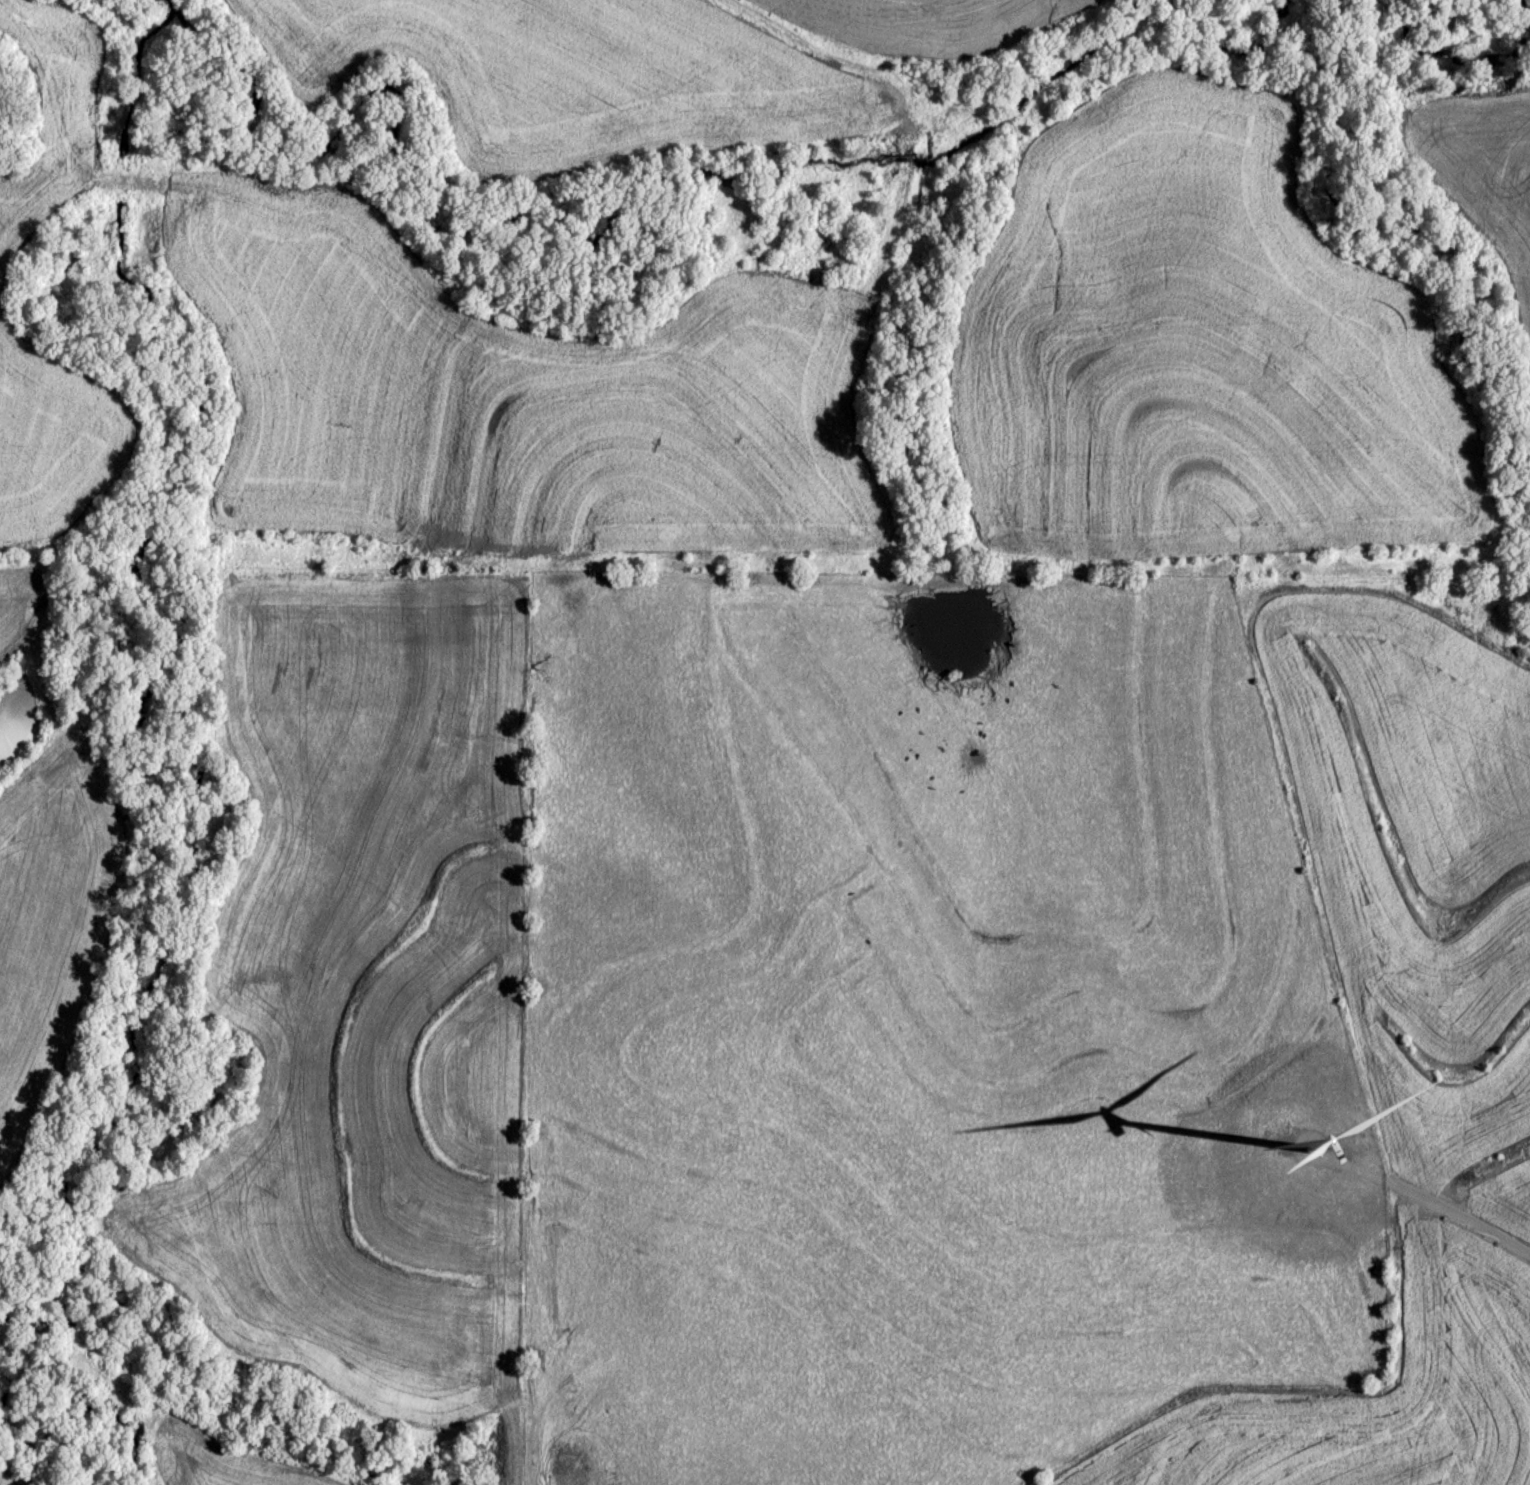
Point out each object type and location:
wind turbine: (1308, 1154)

